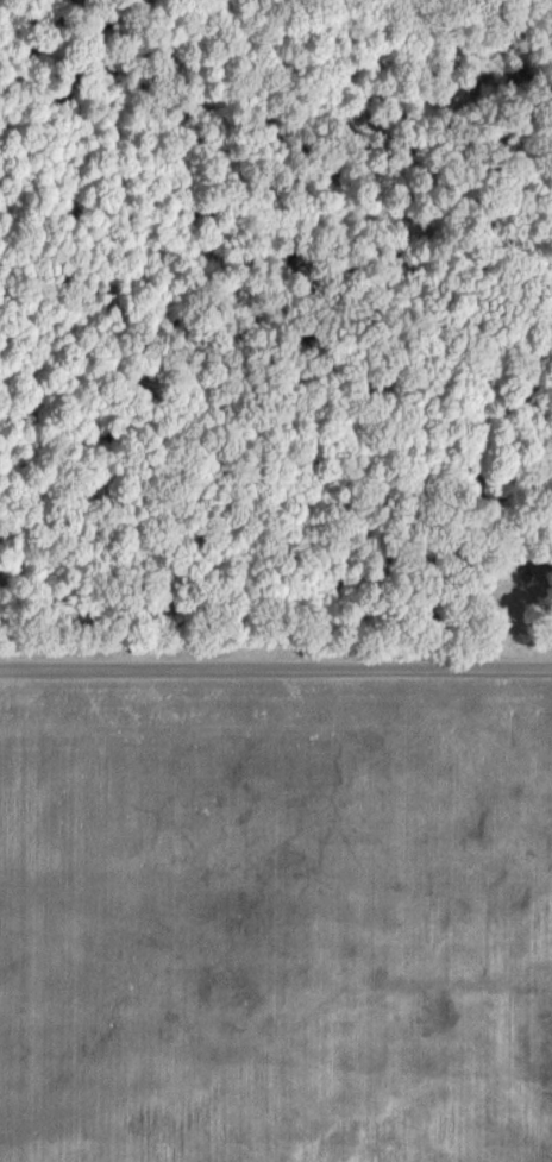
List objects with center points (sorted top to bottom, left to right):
road: (276, 668)

